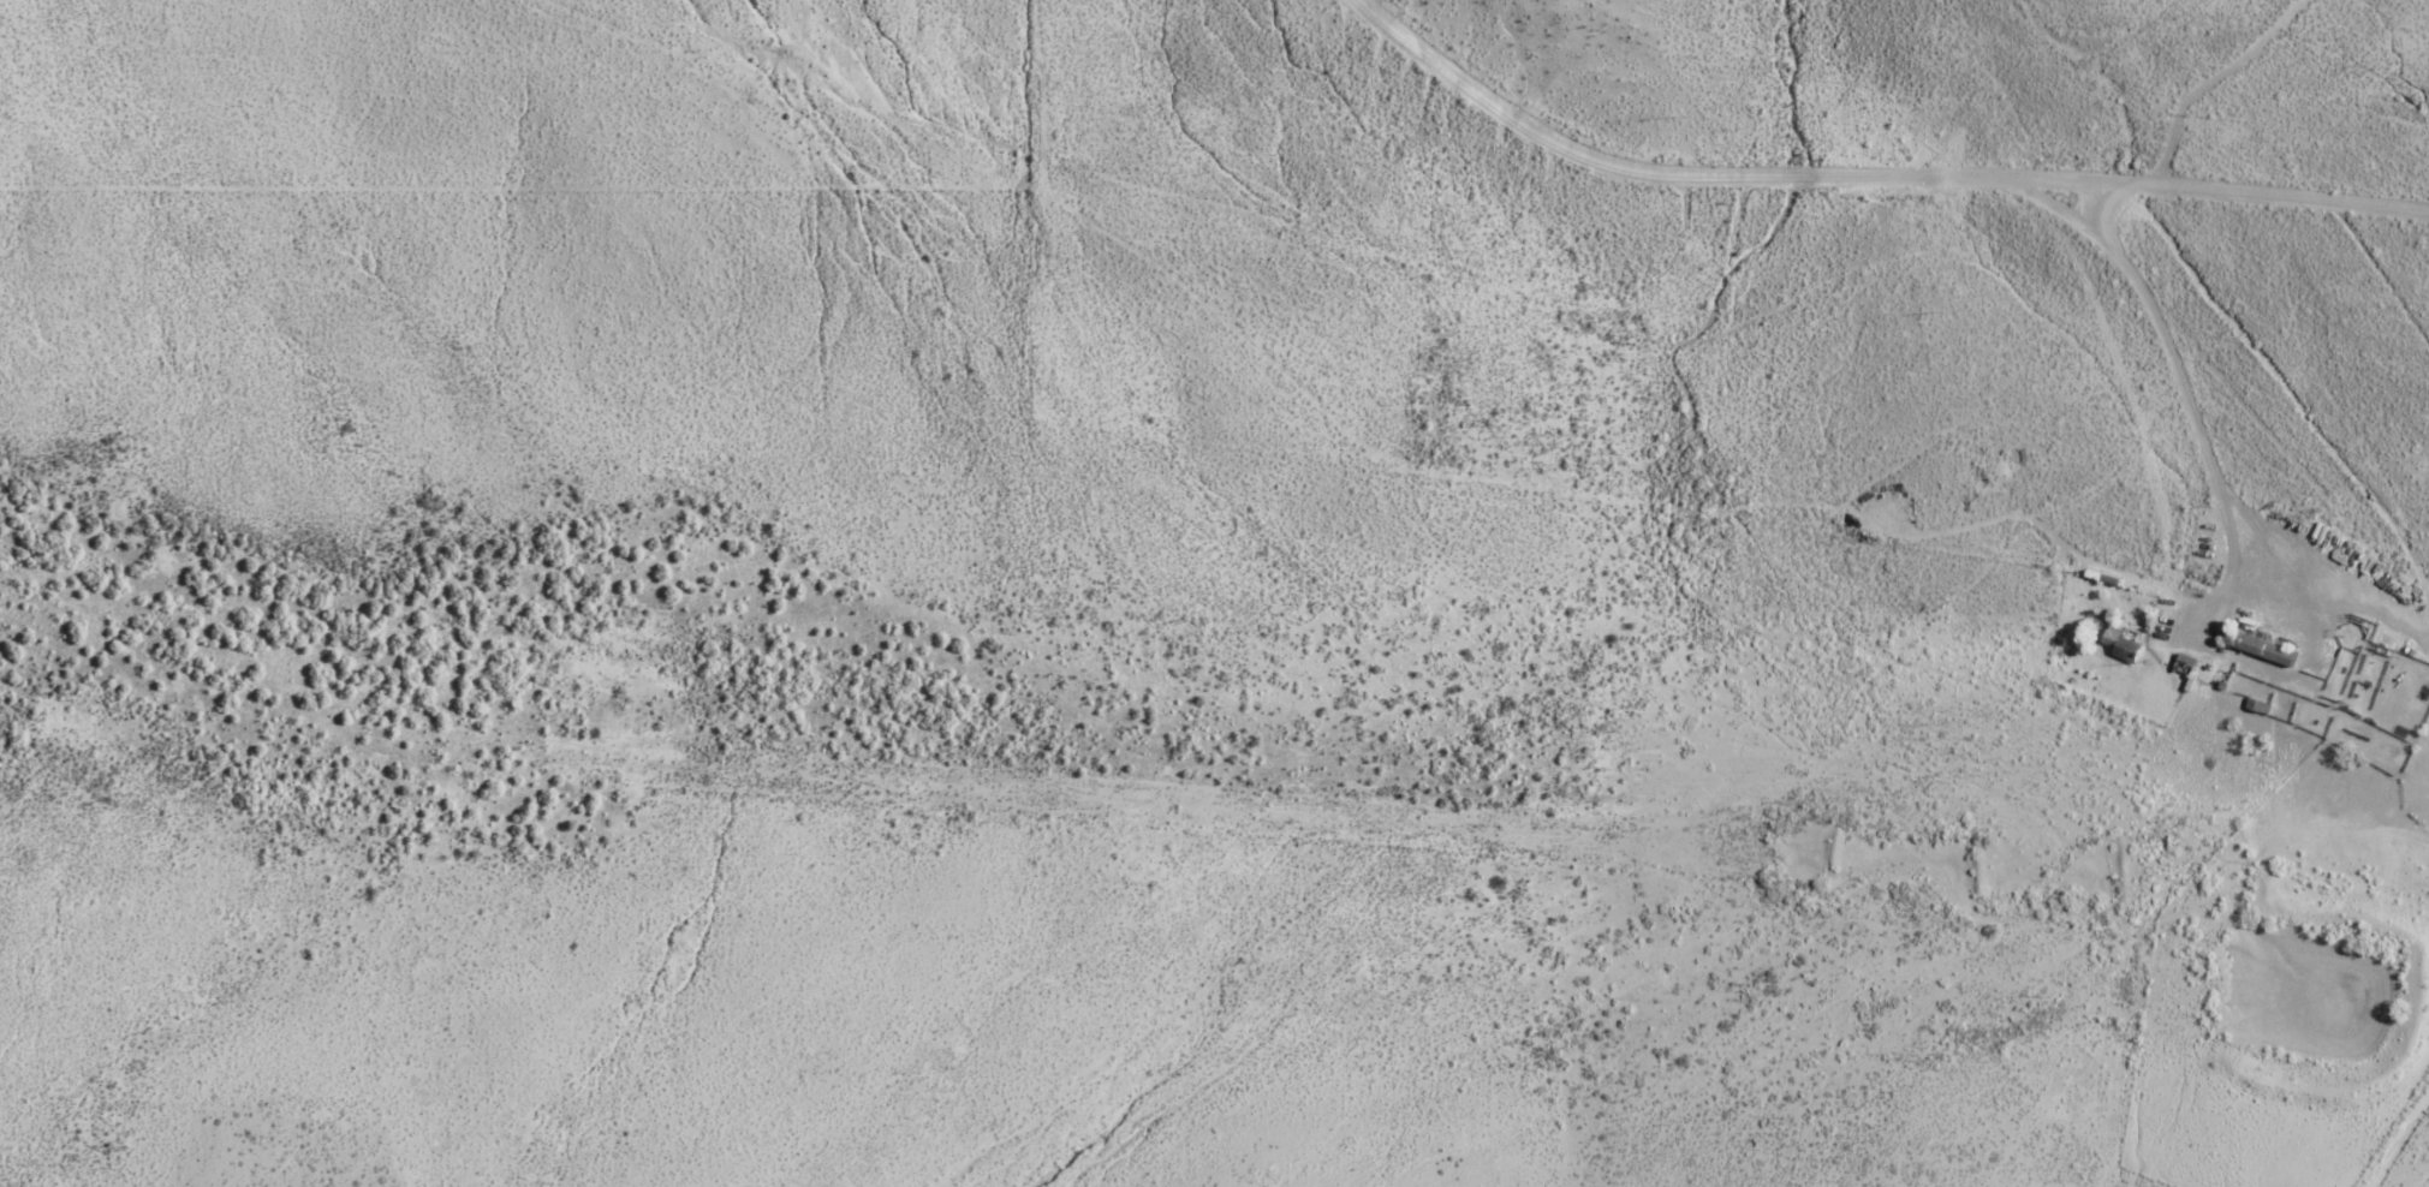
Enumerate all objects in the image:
road: (2226, 85)
road: (1863, 180)
road: (2189, 351)
airport runway: (910, 780)
road: (2398, 1137)

